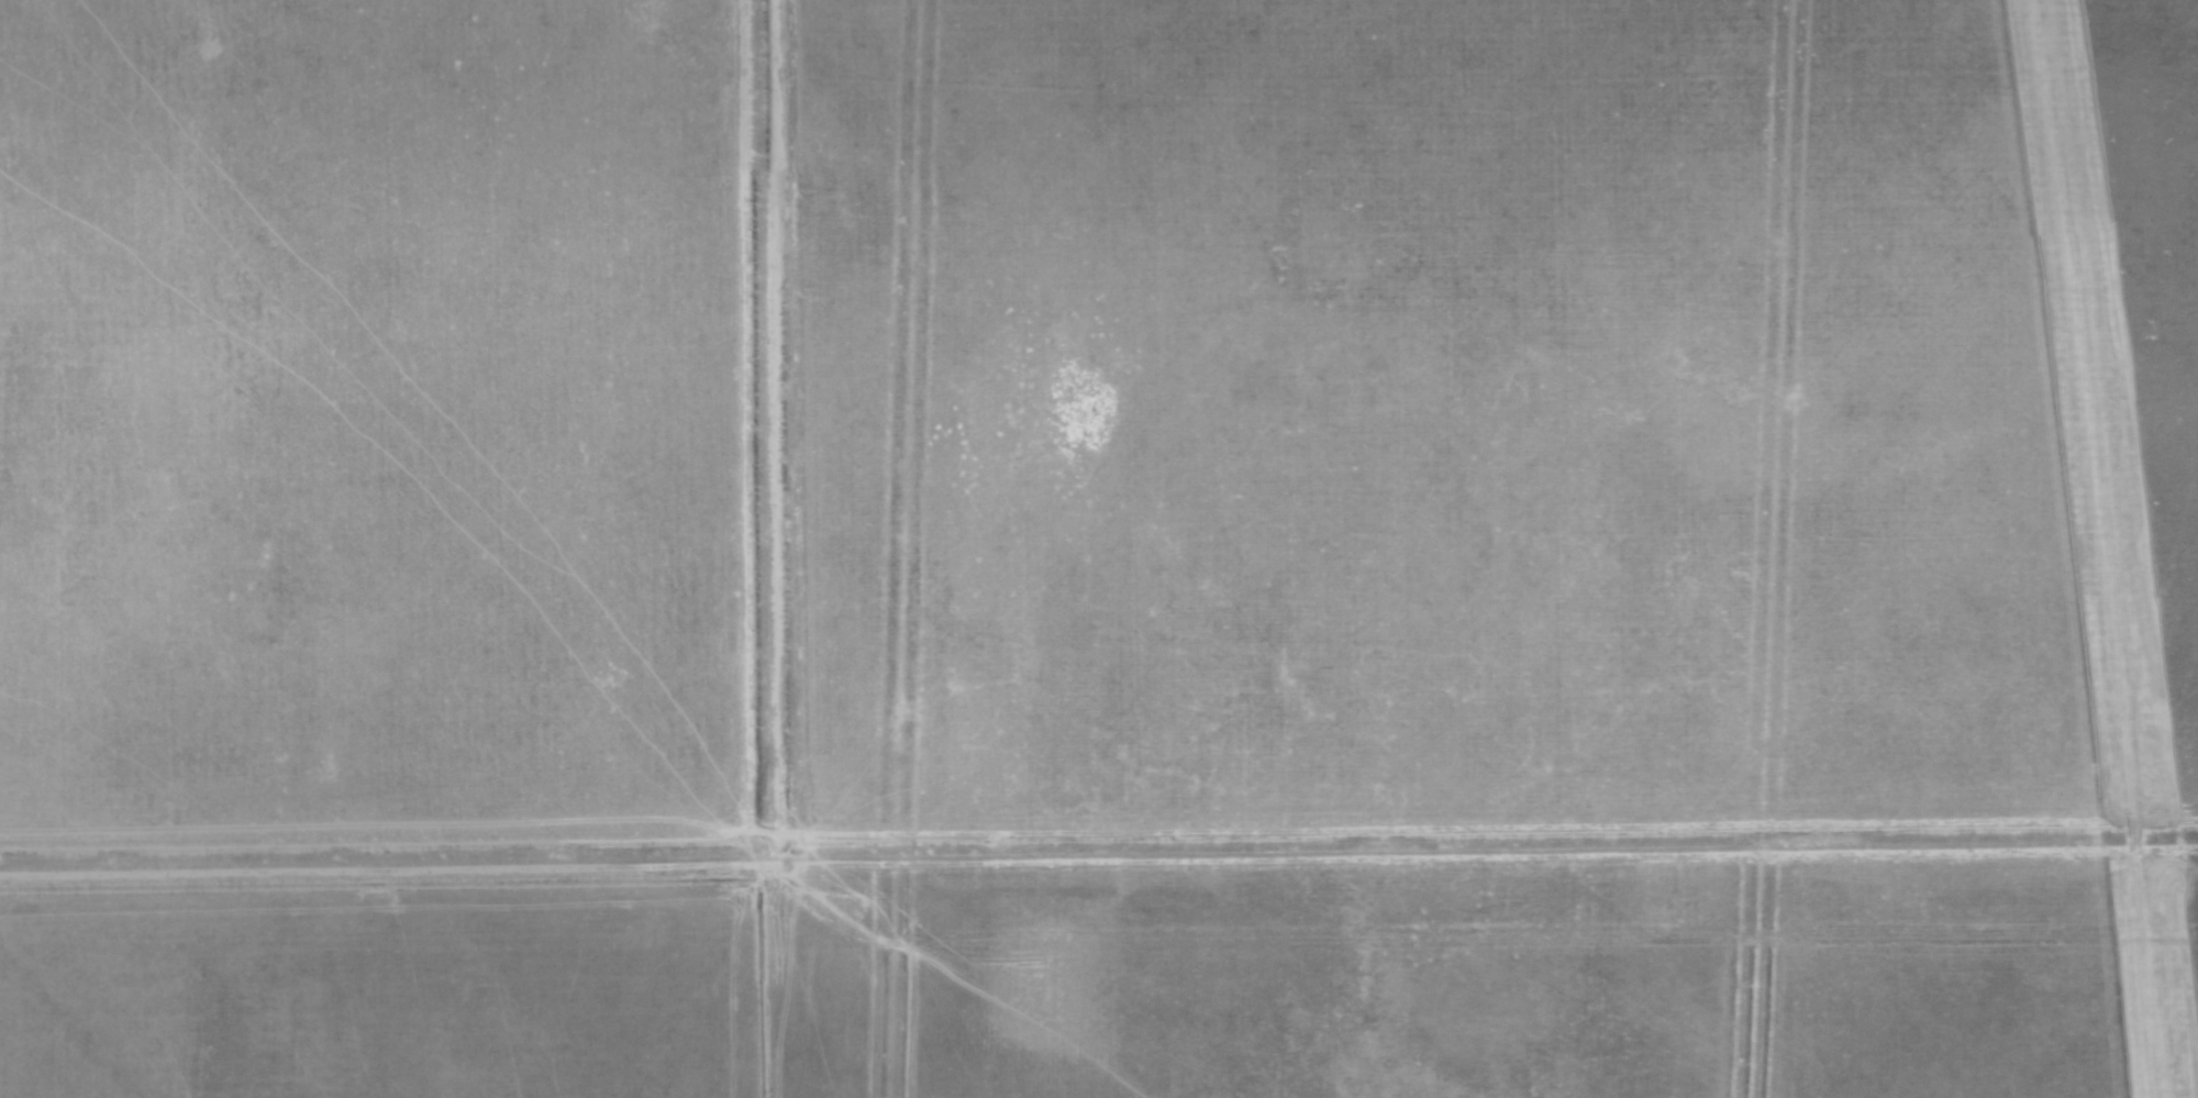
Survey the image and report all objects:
crop: (1021, 478)
railway: (2109, 548)
railway: (2120, 548)

